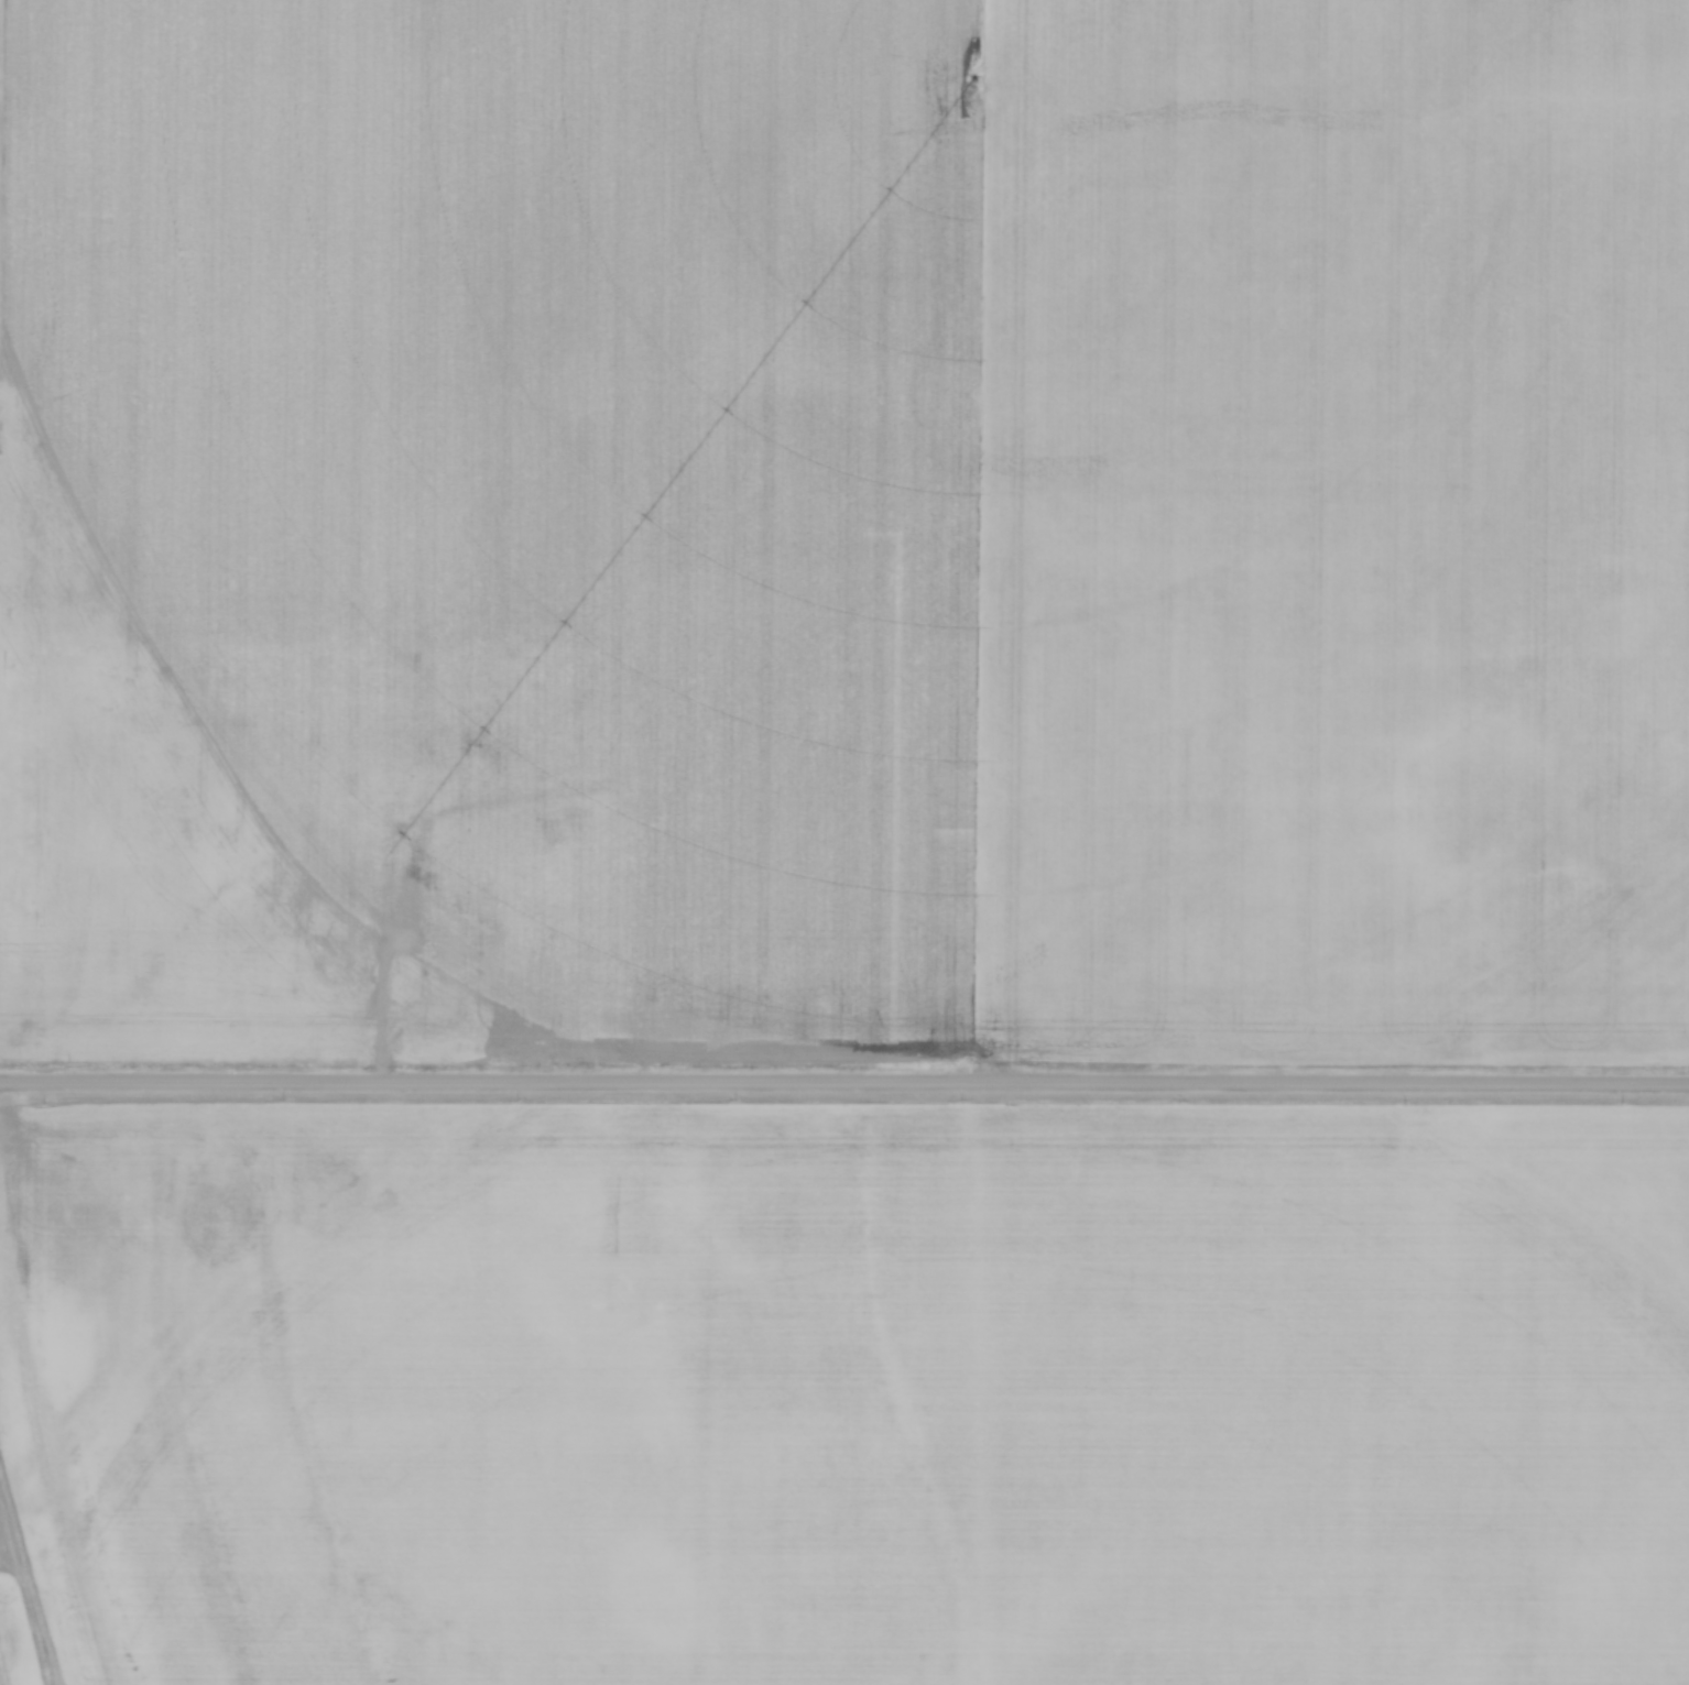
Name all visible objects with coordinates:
road: (382, 981)
road: (843, 1088)

